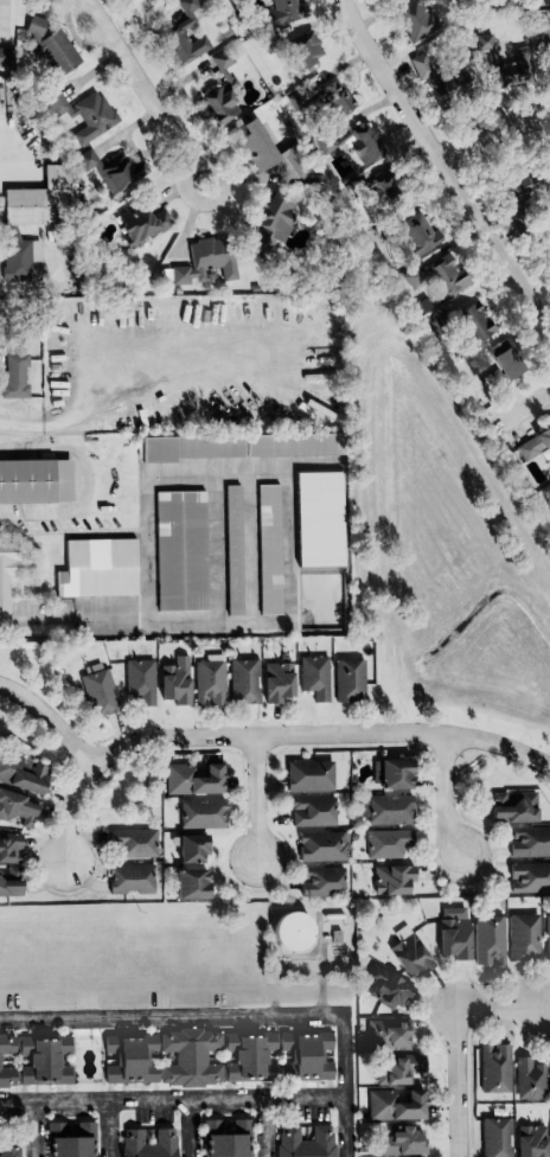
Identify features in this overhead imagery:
building: (286, 12)
building: (416, 19)
building: (172, 33)
road: (76, 39)
building: (49, 46)
building: (305, 51)
building: (5, 57)
building: (501, 64)
building: (437, 78)
road: (146, 90)
building: (220, 90)
building: (324, 98)
road: (493, 135)
building: (326, 145)
building: (254, 146)
building: (363, 146)
road: (441, 162)
building: (113, 171)
building: (518, 190)
building: (39, 202)
building: (274, 222)
building: (140, 224)
road: (184, 229)
building: (417, 234)
building: (19, 258)
building: (205, 261)
building: (445, 277)
building: (473, 321)
building: (501, 358)
building: (14, 376)
road: (526, 408)
road: (84, 413)
building: (293, 439)
building: (192, 440)
building: (533, 443)
building: (34, 475)
road: (88, 480)
building: (319, 511)
building: (232, 539)
building: (269, 542)
building: (181, 543)
building: (98, 562)
building: (11, 563)
road: (145, 613)
building: (314, 676)
building: (139, 680)
building: (174, 680)
building: (242, 680)
building: (276, 680)
building: (347, 680)
building: (97, 691)
road: (50, 718)
road: (215, 737)
road: (500, 746)
building: (21, 773)
building: (390, 773)
building: (308, 776)
building: (192, 779)
road: (448, 794)
road: (256, 797)
building: (512, 806)
building: (17, 810)
building: (385, 810)
building: (311, 811)
building: (200, 813)
building: (134, 842)
building: (530, 842)
building: (386, 843)
building: (321, 846)
building: (9, 848)
building: (190, 849)
building: (529, 877)
building: (129, 878)
building: (391, 878)
building: (9, 881)
building: (321, 882)
building: (190, 883)
building: (290, 931)
building: (453, 933)
building: (523, 938)
building: (546, 938)
building: (487, 940)
building: (409, 955)
building: (388, 989)
road: (500, 1009)
road: (172, 1014)
building: (385, 1034)
building: (217, 1057)
building: (33, 1061)
building: (494, 1068)
building: (399, 1069)
building: (549, 1074)
building: (529, 1079)
road: (456, 1082)
road: (345, 1085)
road: (173, 1099)
building: (394, 1106)
road: (269, 1126)
road: (188, 1127)
road: (33, 1129)
road: (111, 1129)
building: (494, 1137)
building: (226, 1138)
building: (70, 1139)
building: (402, 1140)
building: (530, 1140)
building: (305, 1142)
building: (148, 1143)
building: (8, 1149)

